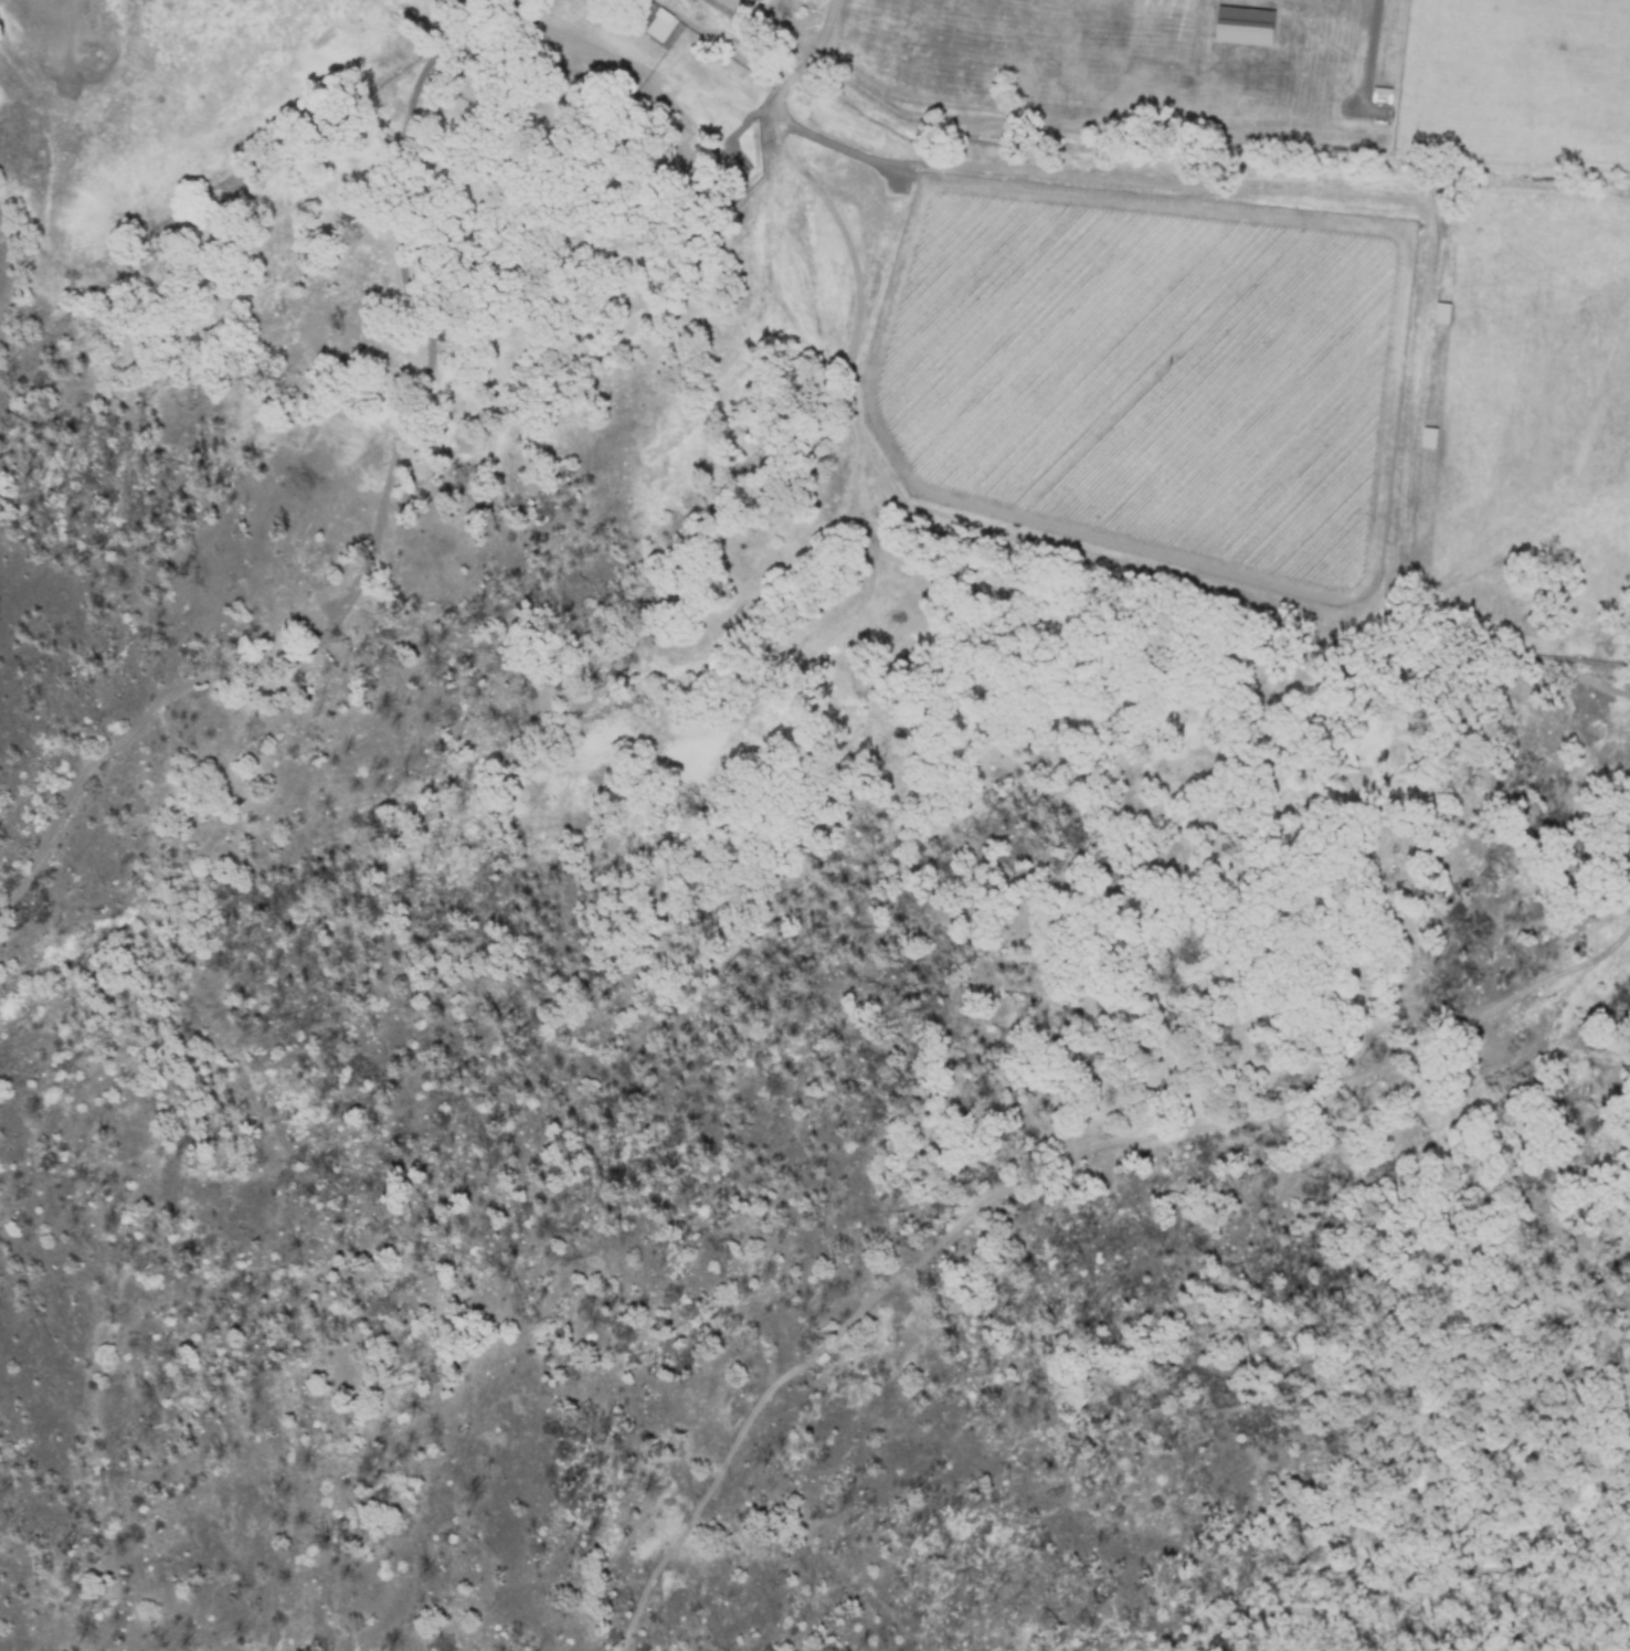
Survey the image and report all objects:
building: (1306, 9)
building: (1239, 27)

